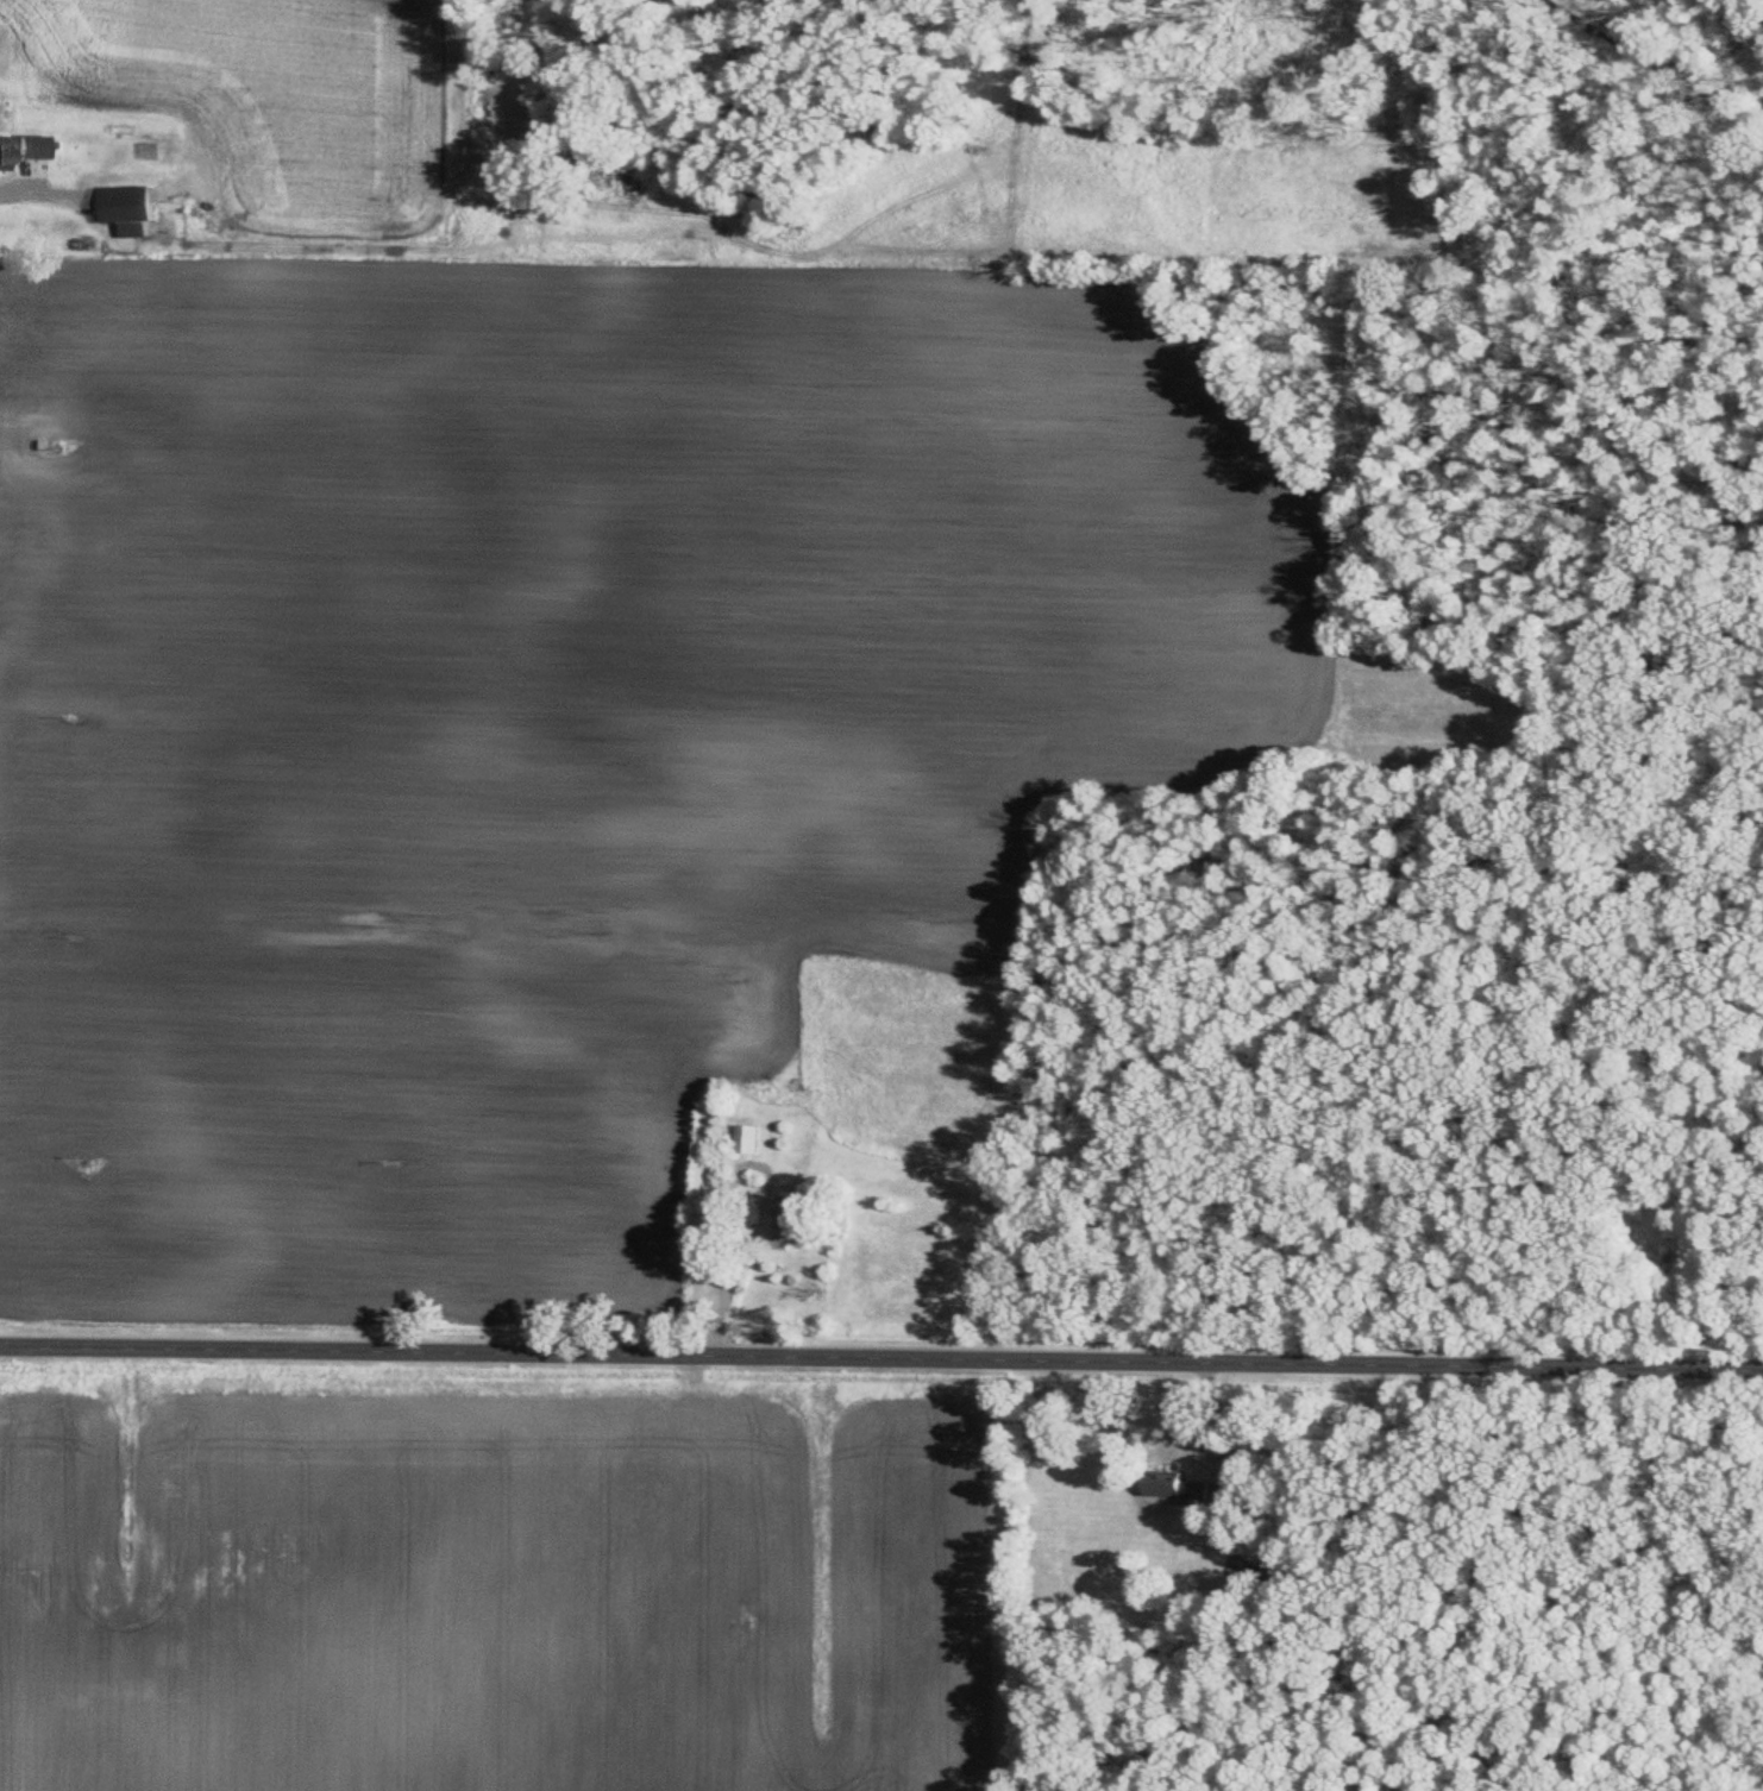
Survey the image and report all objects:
building: (29, 147)
building: (2, 151)
building: (127, 209)
building: (747, 1139)
building: (780, 1224)
road: (880, 1358)
building: (1177, 1488)
building: (1278, 1570)

